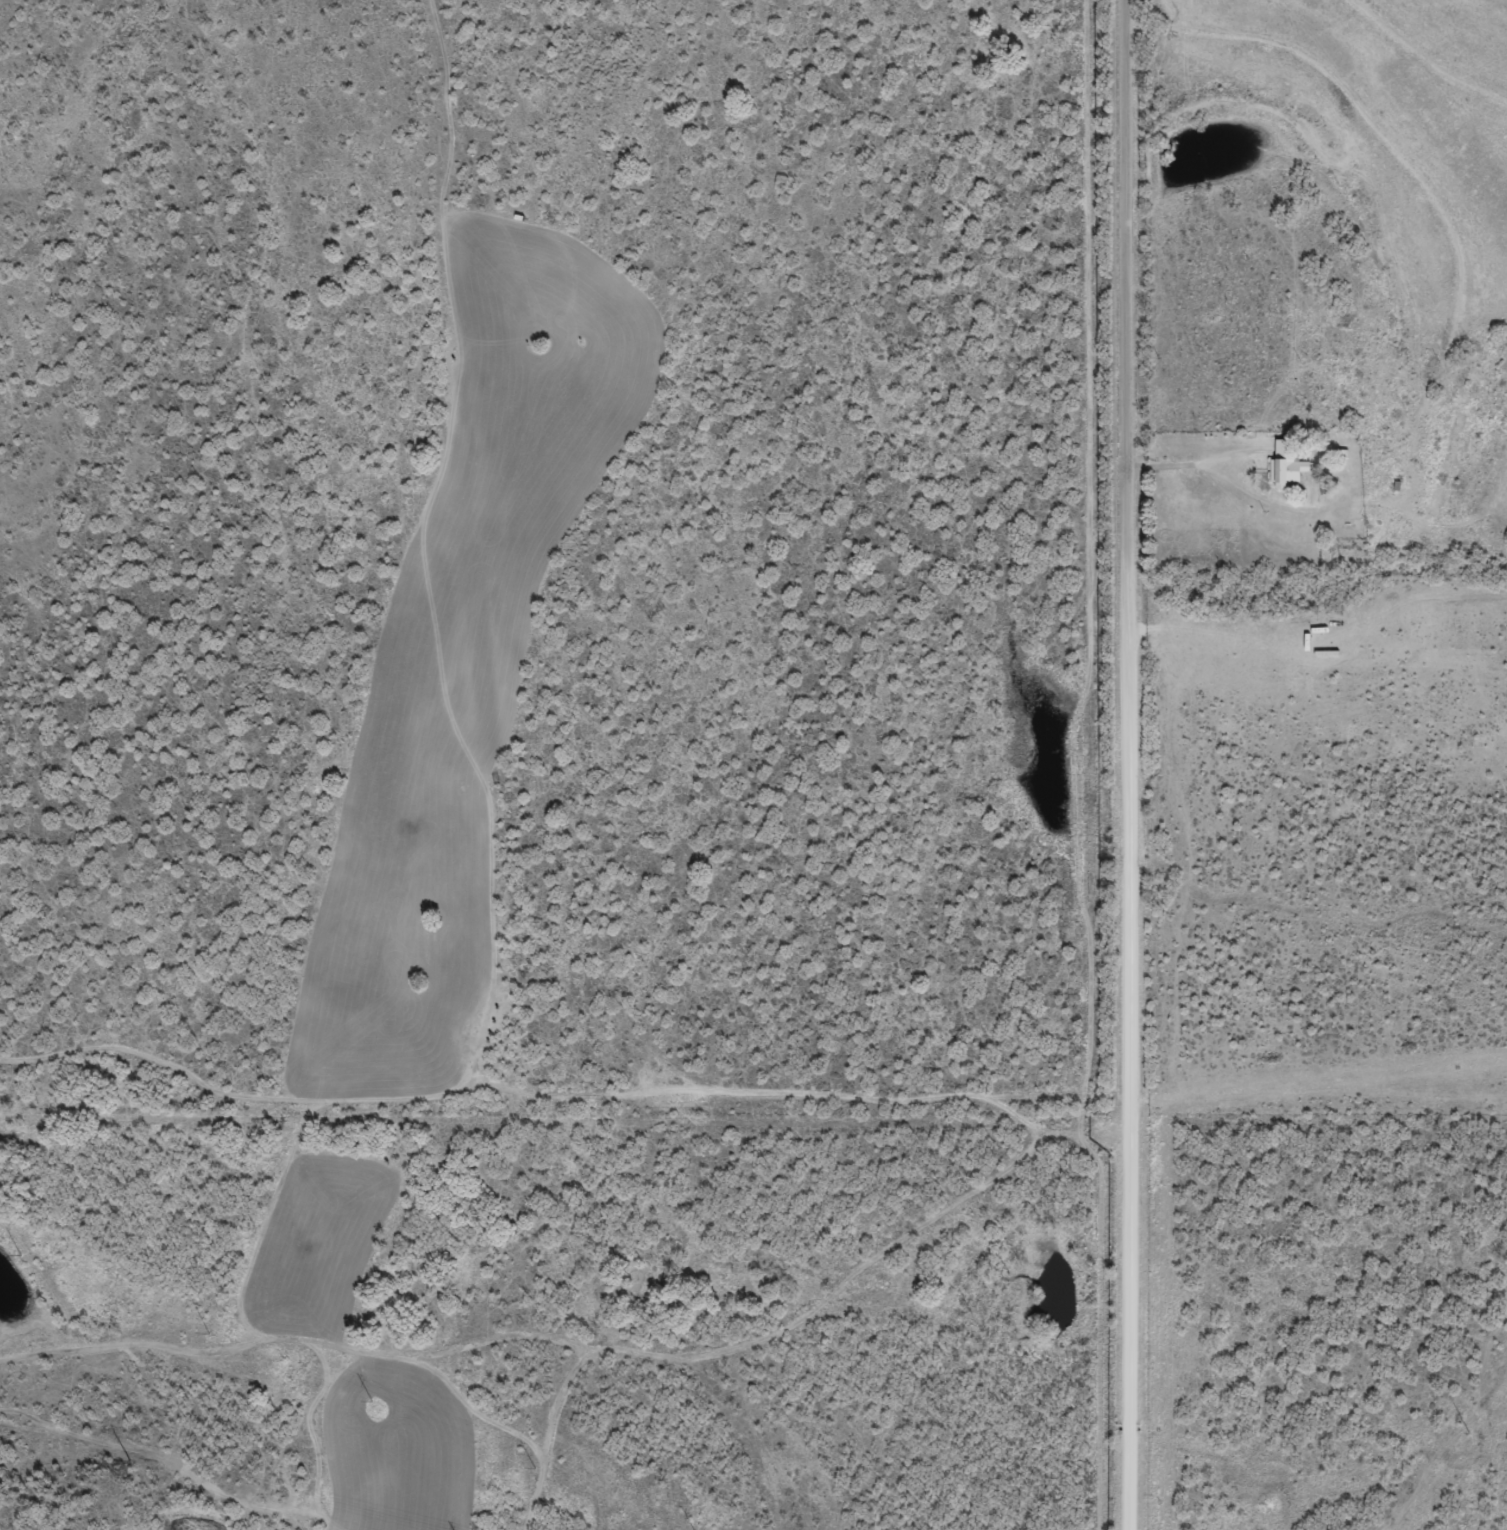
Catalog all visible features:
building: (1283, 474)
road: (1126, 765)

